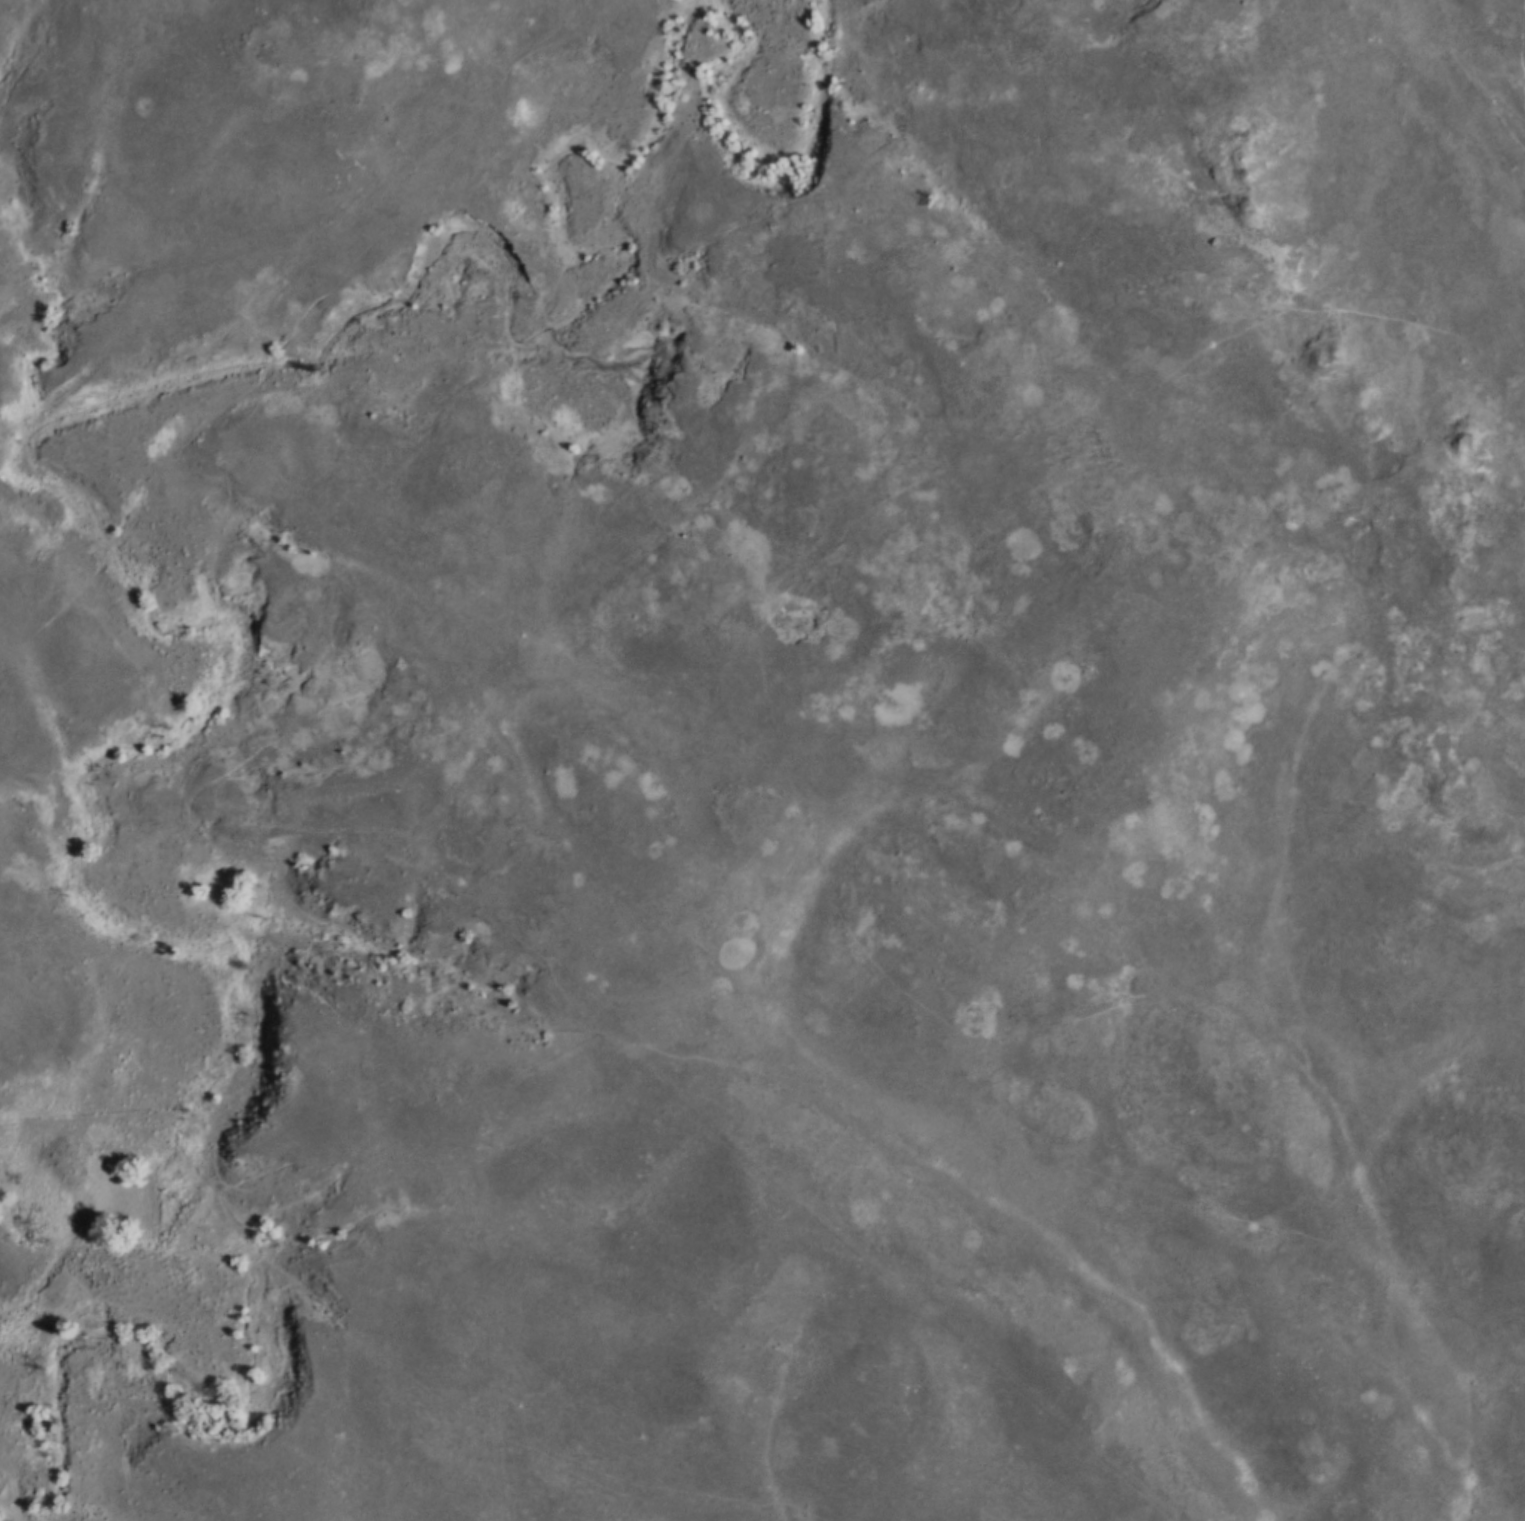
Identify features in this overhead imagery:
road: (215, 1494)

